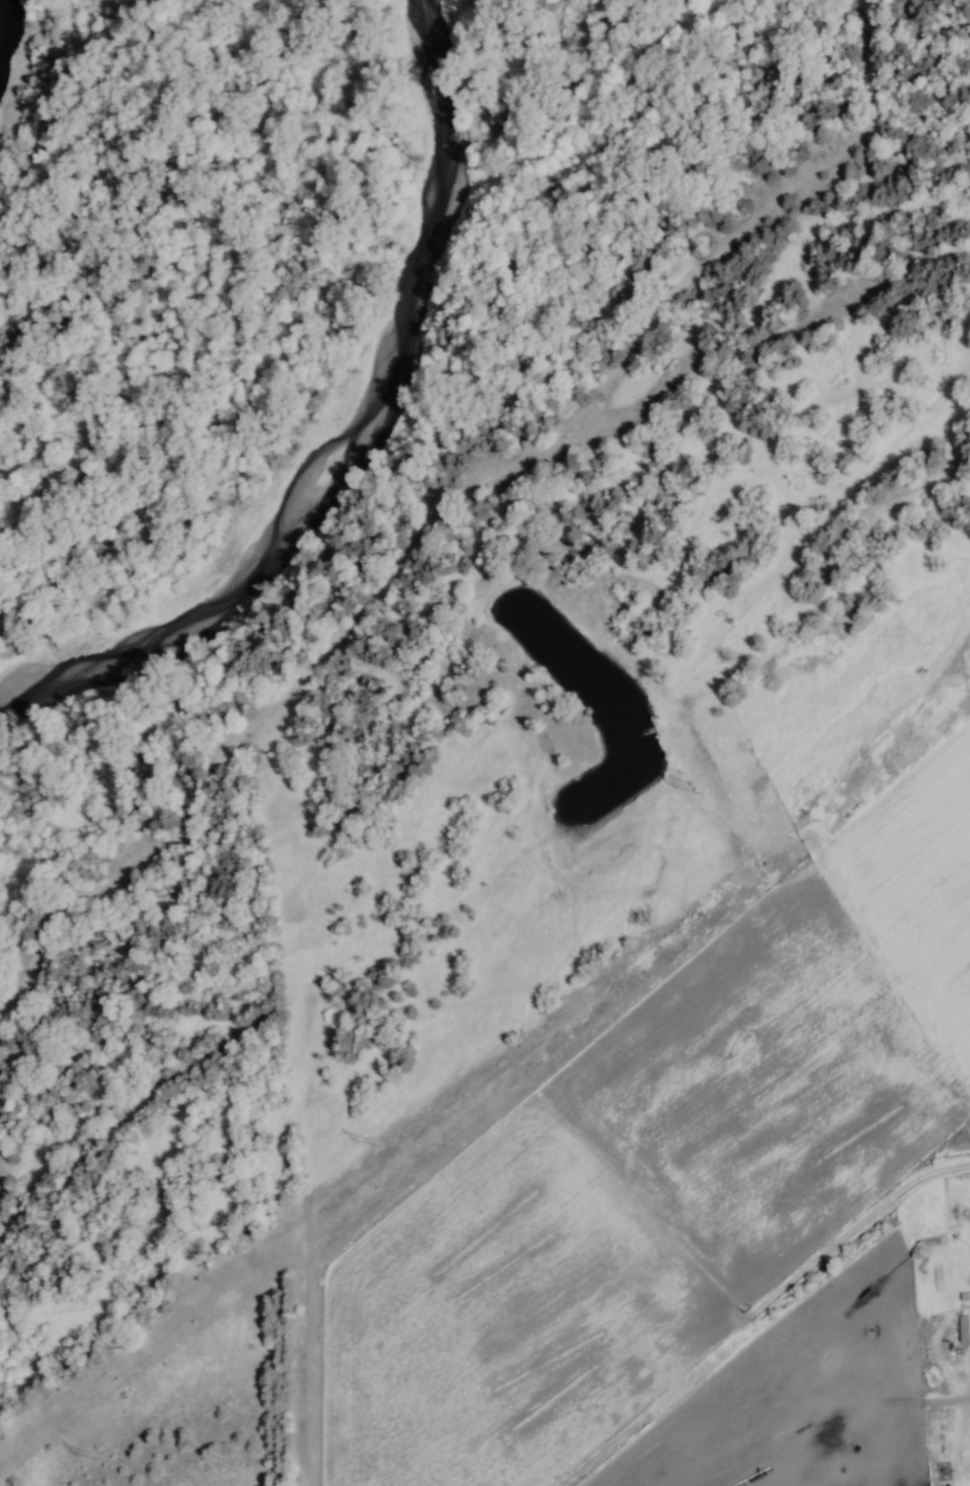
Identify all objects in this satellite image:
power tower: (687, 782)
power tower: (368, 1140)
building: (964, 1295)
power tower: (91, 1455)

